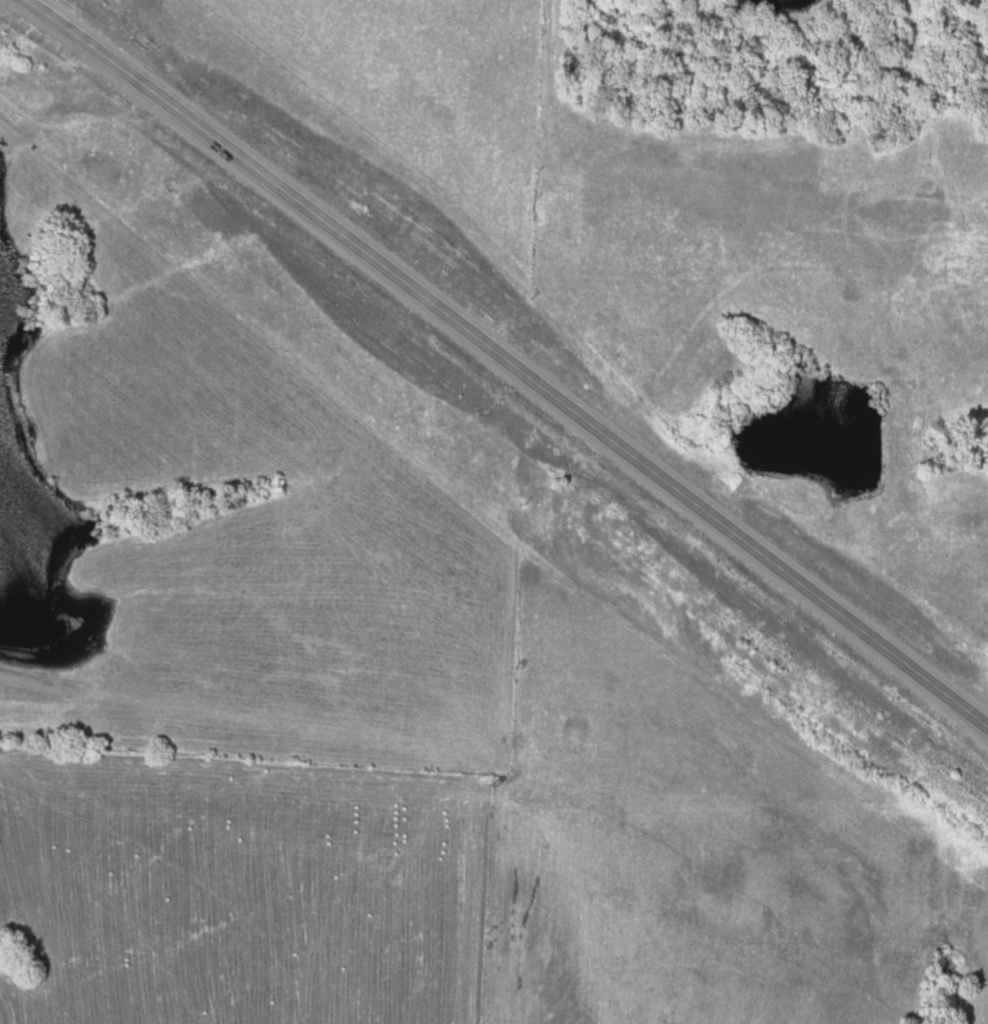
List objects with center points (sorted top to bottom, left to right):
road: (501, 367)
dam: (30, 661)

